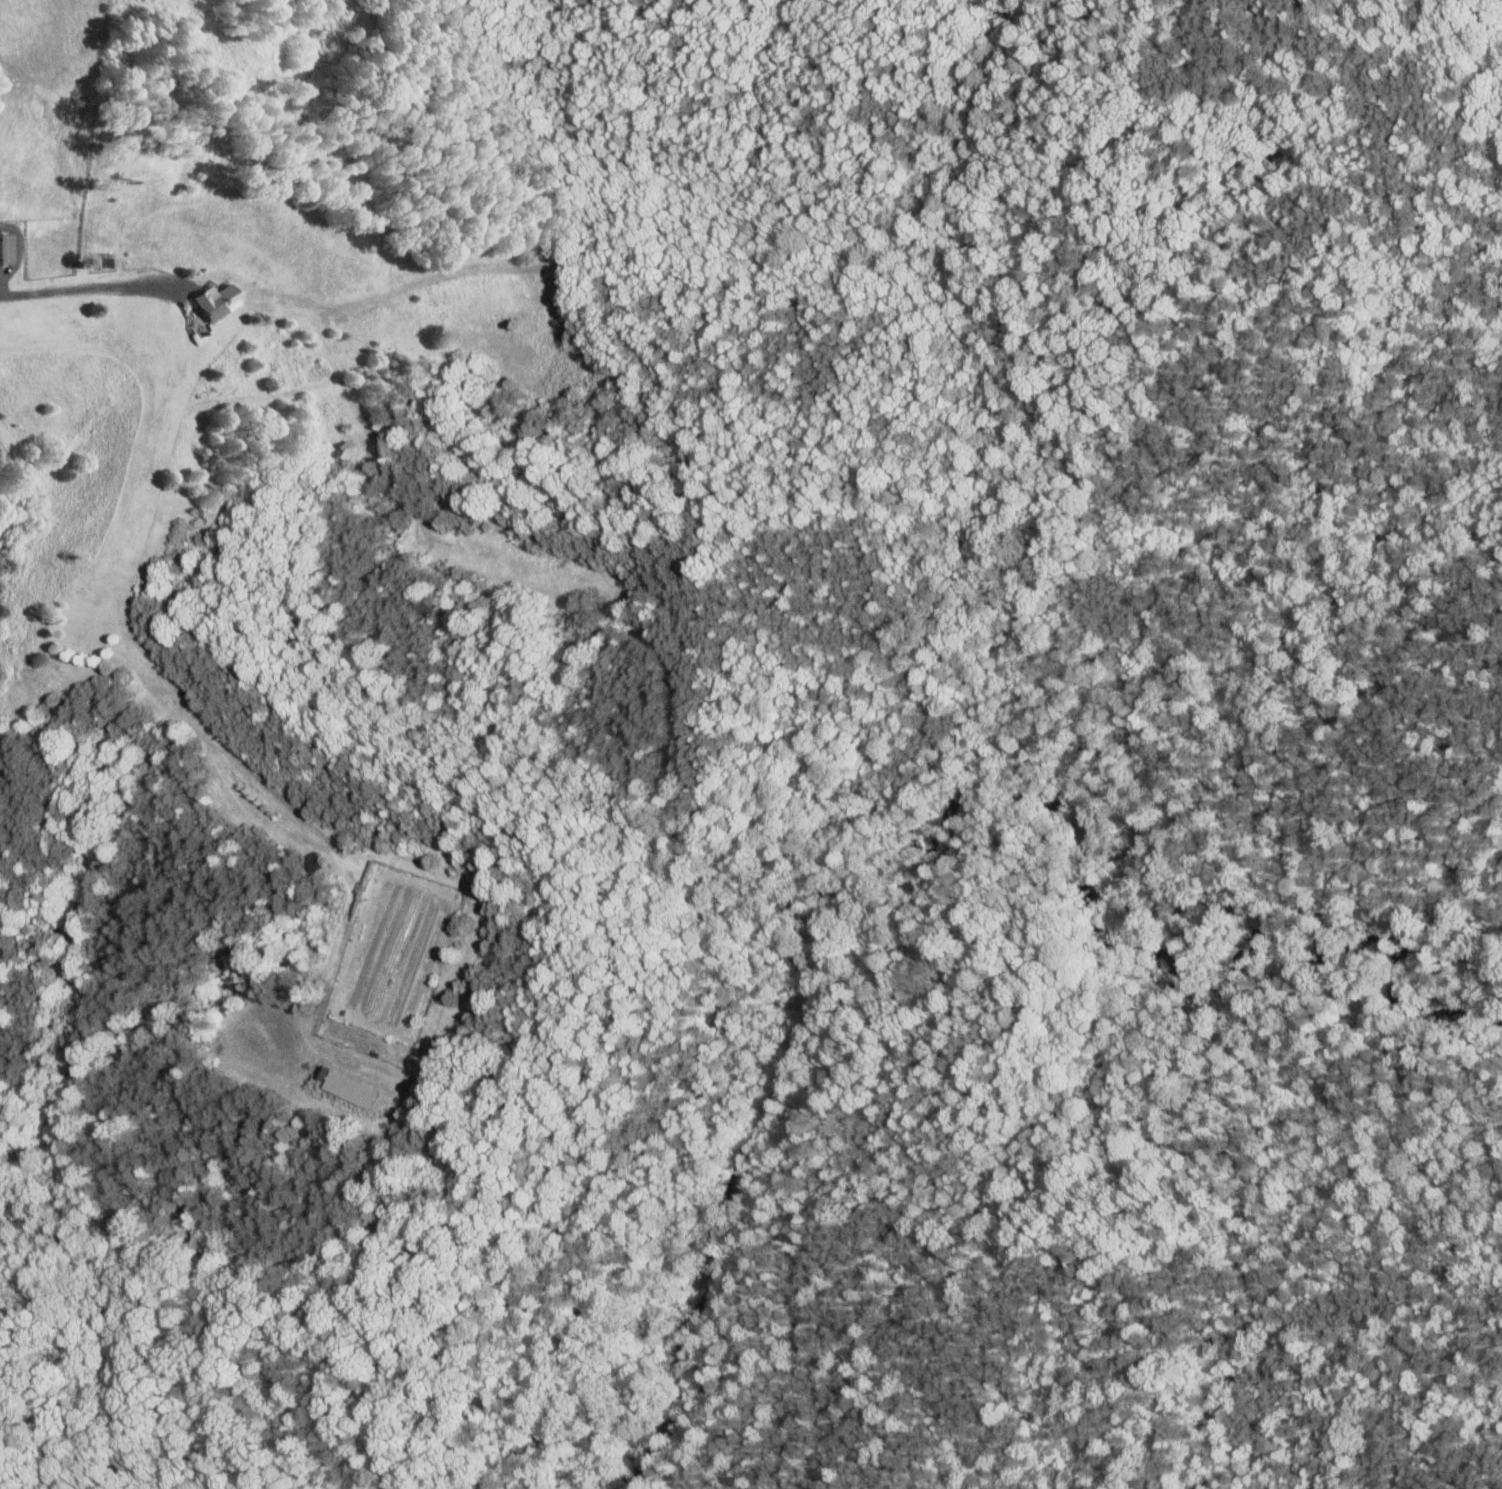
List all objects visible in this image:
building: (8, 247)
road: (88, 290)
building: (221, 300)
building: (356, 1088)

